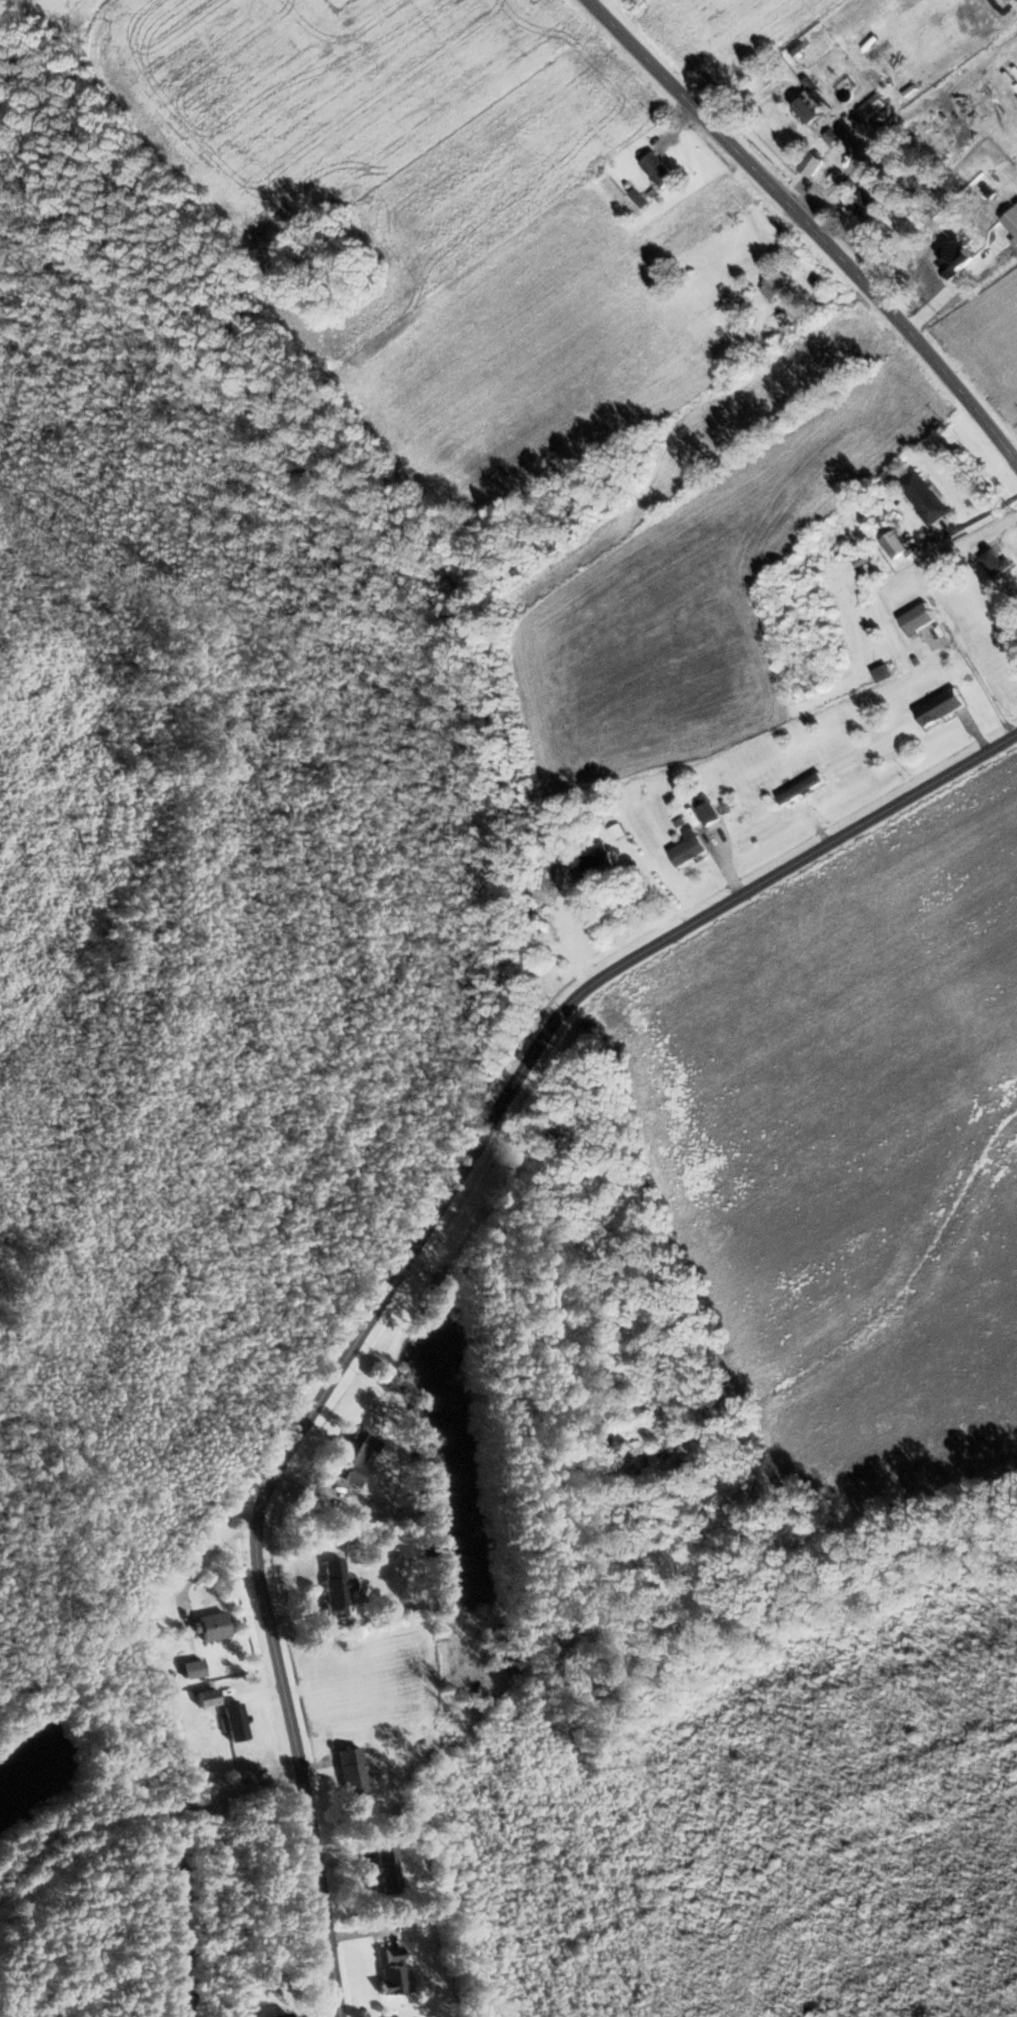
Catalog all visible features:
building: (786, 113)
building: (835, 130)
building: (809, 164)
building: (655, 168)
building: (861, 203)
road: (808, 227)
building: (944, 277)
building: (773, 284)
building: (921, 497)
building: (892, 544)
building: (991, 563)
building: (915, 619)
building: (937, 707)
building: (806, 783)
building: (704, 809)
building: (686, 847)
building: (593, 861)
road: (545, 1039)
building: (351, 1458)
road: (194, 1573)
road: (256, 1582)
building: (333, 1588)
building: (207, 1628)
building: (189, 1669)
building: (349, 1772)
building: (382, 1870)
building: (389, 1971)

